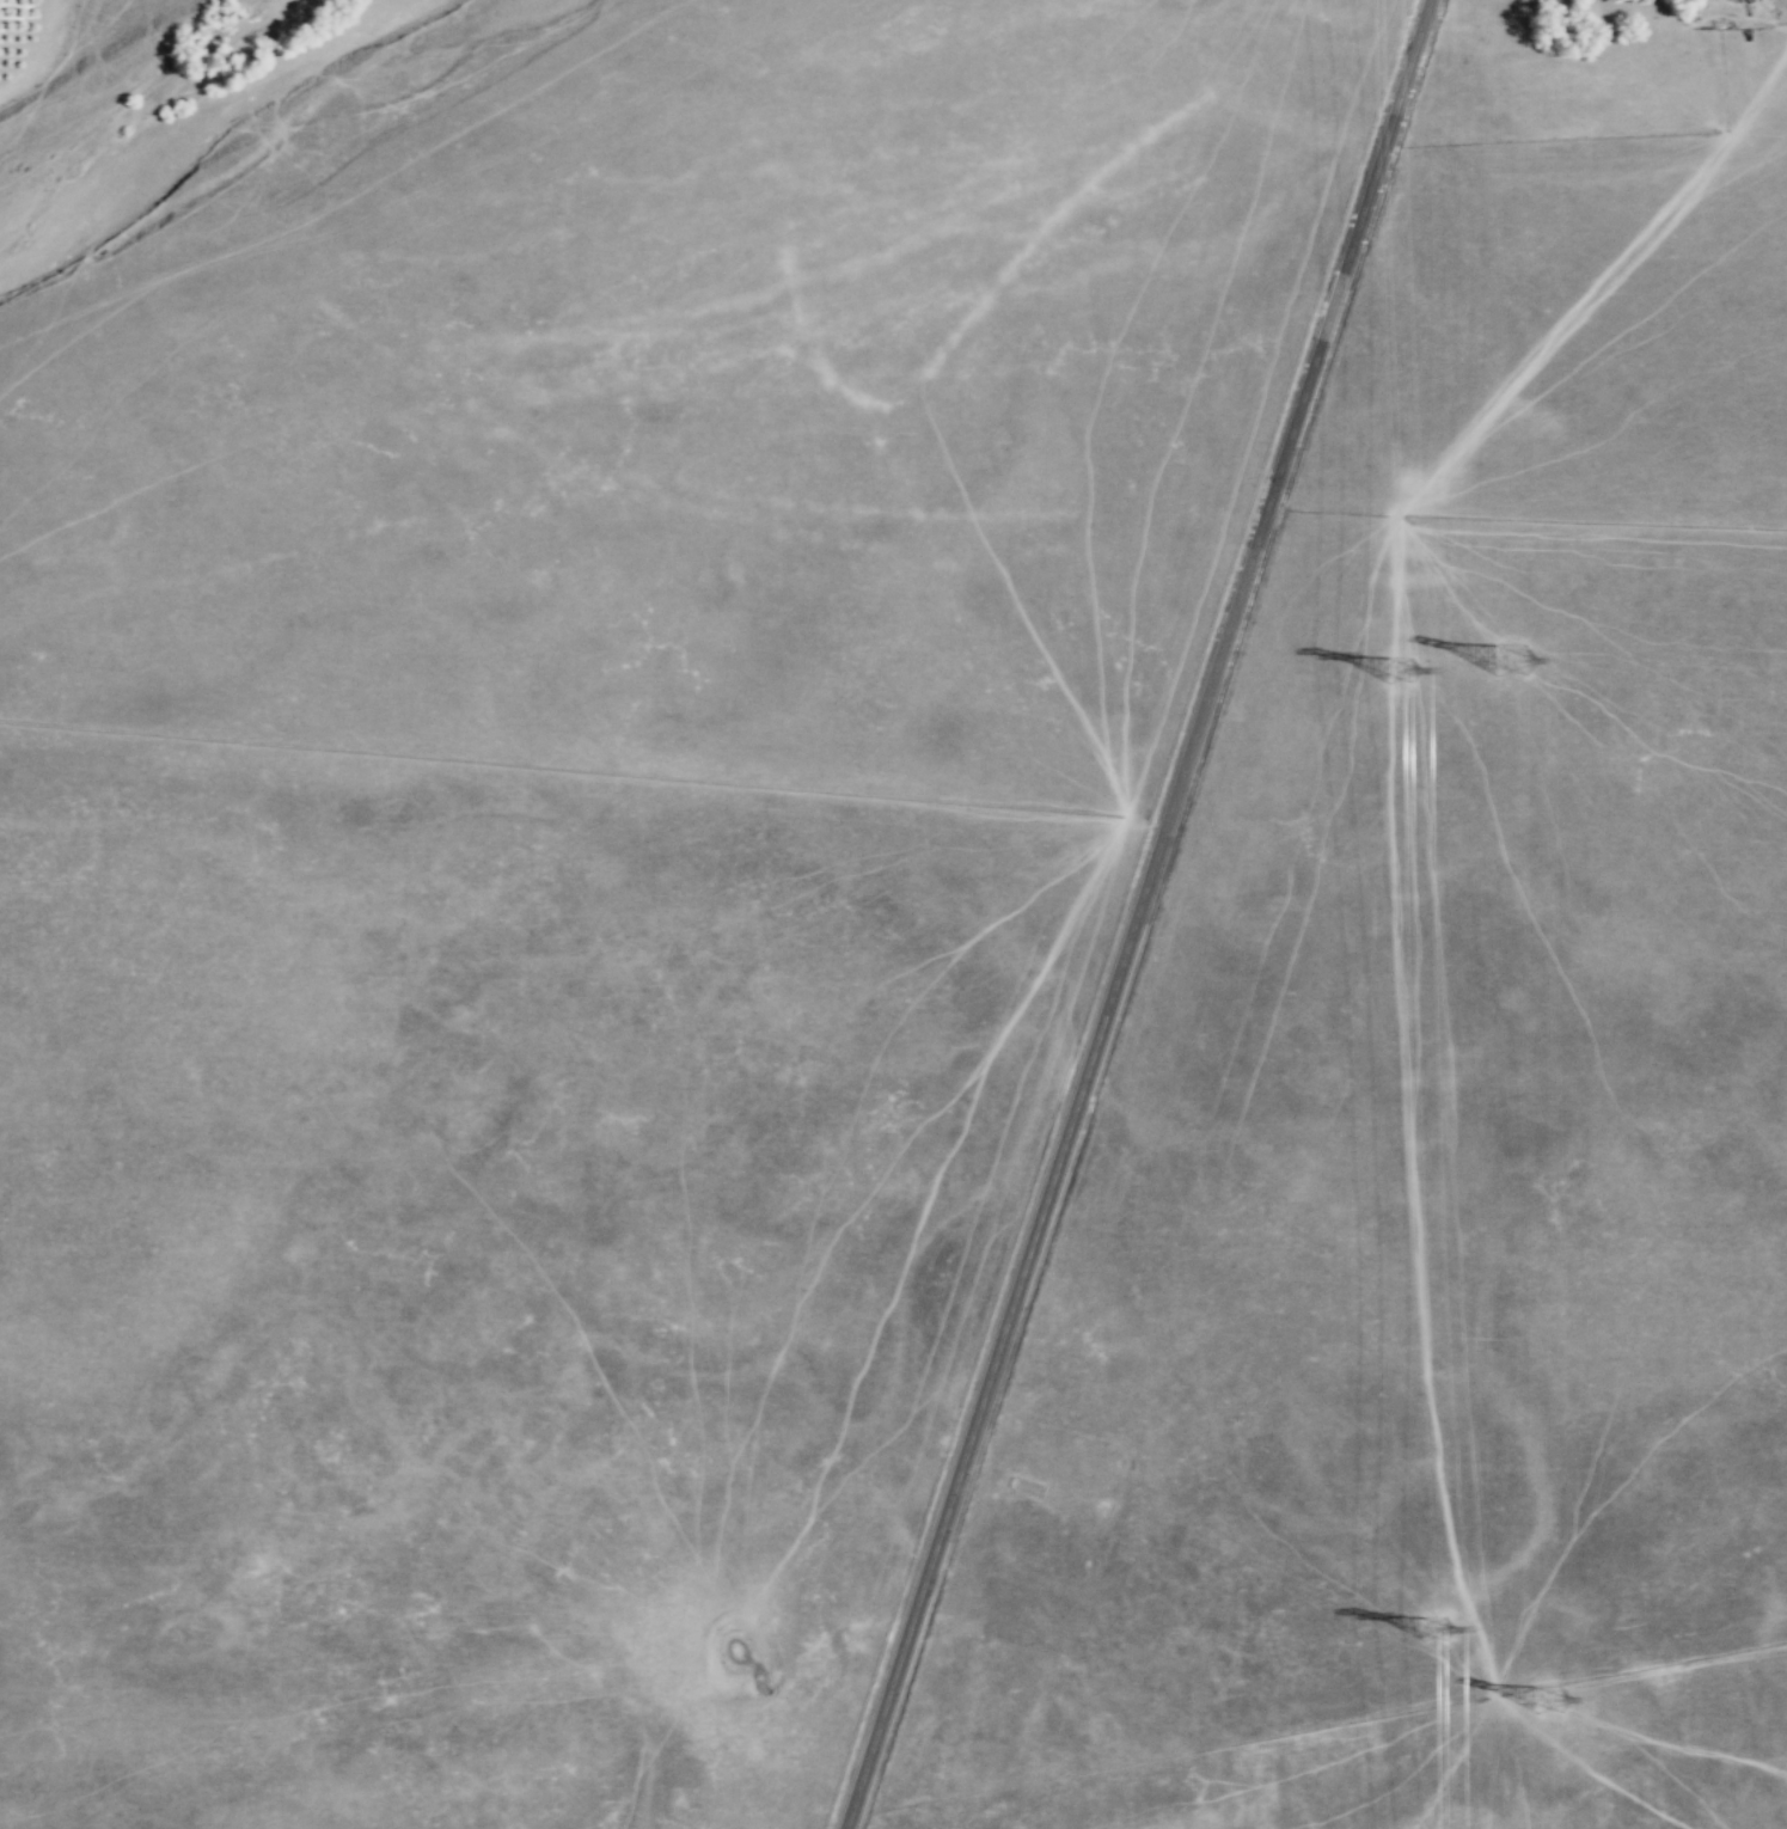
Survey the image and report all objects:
river: (203, 124)
road: (351, 189)
power tower: (1501, 660)
power tower: (1399, 668)
road: (1133, 913)
road: (1395, 924)
power tower: (1438, 1640)
power tower: (1559, 1695)

